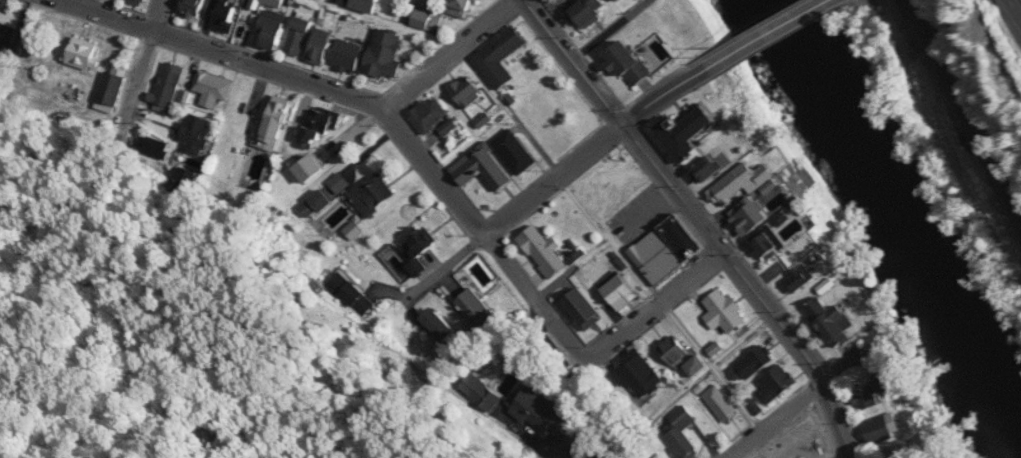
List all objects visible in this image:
building: (615, 0)
building: (353, 1)
building: (142, 2)
building: (266, 3)
building: (283, 3)
building: (379, 4)
building: (200, 7)
building: (458, 7)
building: (471, 8)
road: (134, 10)
road: (1013, 10)
building: (330, 11)
building: (597, 12)
building: (230, 15)
building: (354, 15)
road: (152, 16)
building: (420, 18)
building: (432, 20)
road: (612, 30)
building: (278, 33)
road: (766, 34)
building: (306, 36)
building: (4, 38)
building: (318, 45)
building: (329, 47)
road: (227, 53)
road: (590, 53)
road: (716, 53)
road: (452, 54)
building: (81, 55)
building: (356, 55)
building: (393, 55)
building: (507, 57)
road: (575, 60)
road: (146, 62)
building: (636, 64)
road: (341, 82)
building: (169, 85)
building: (214, 88)
building: (109, 89)
building: (473, 92)
road: (663, 92)
building: (186, 96)
railway: (965, 110)
building: (436, 115)
building: (488, 120)
building: (455, 125)
building: (277, 127)
building: (321, 127)
building: (193, 130)
road: (952, 132)
building: (689, 135)
building: (152, 144)
building: (519, 152)
building: (279, 165)
building: (704, 167)
building: (314, 169)
building: (715, 169)
building: (486, 170)
road: (547, 174)
building: (744, 182)
building: (340, 183)
building: (376, 195)
building: (318, 204)
road: (520, 207)
river: (914, 211)
building: (335, 217)
building: (752, 217)
building: (354, 231)
road: (485, 235)
building: (689, 237)
building: (423, 243)
building: (764, 243)
building: (772, 245)
building: (545, 251)
building: (580, 256)
building: (661, 258)
building: (398, 267)
building: (420, 268)
road: (762, 275)
building: (482, 276)
building: (801, 278)
building: (347, 283)
road: (750, 283)
building: (826, 286)
building: (624, 292)
road: (653, 292)
road: (657, 306)
building: (586, 309)
building: (727, 311)
building: (477, 313)
building: (831, 323)
building: (448, 330)
road: (792, 344)
building: (719, 348)
building: (679, 351)
building: (754, 365)
building: (700, 367)
building: (645, 373)
building: (777, 386)
building: (872, 391)
building: (487, 397)
building: (501, 398)
building: (722, 405)
building: (754, 406)
building: (531, 409)
building: (549, 412)
road: (776, 420)
building: (886, 428)
building: (683, 432)
building: (901, 452)
road: (624, 457)

